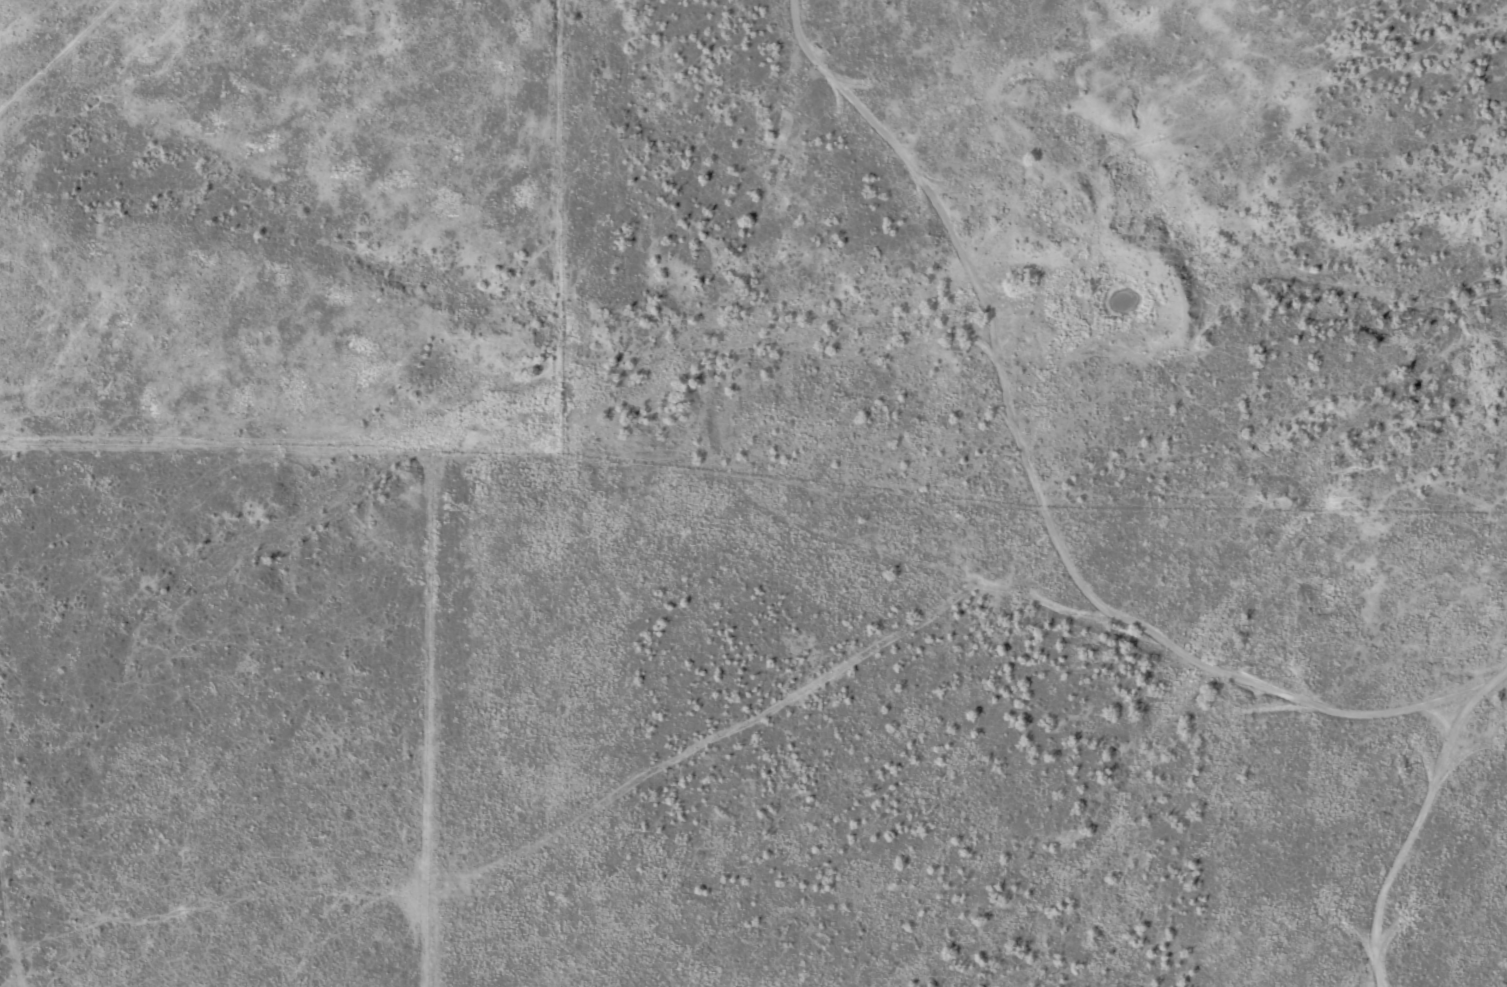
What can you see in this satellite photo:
road: (1462, 848)
road: (21, 907)

